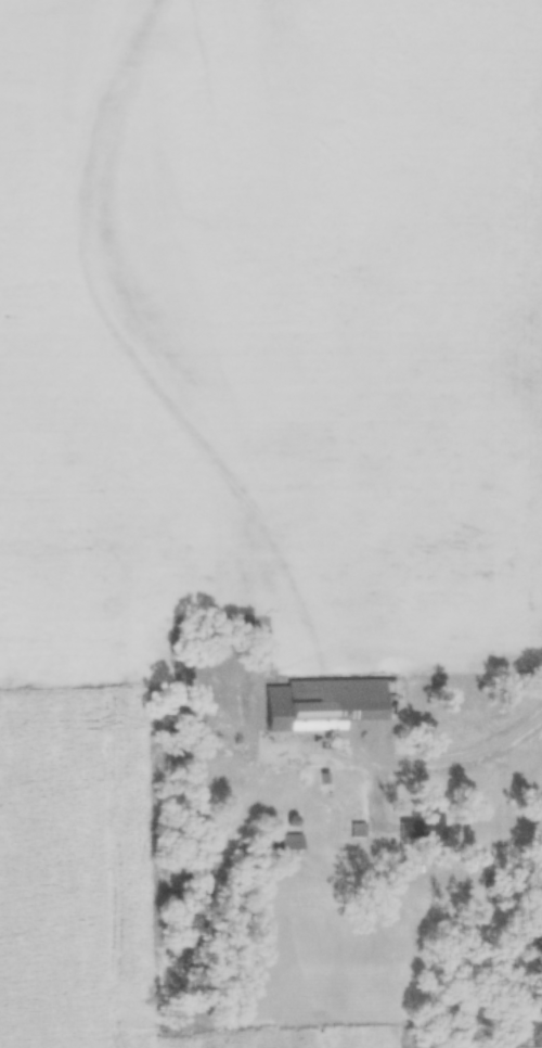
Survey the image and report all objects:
building: (321, 700)
road: (537, 757)
building: (425, 827)
building: (291, 839)

